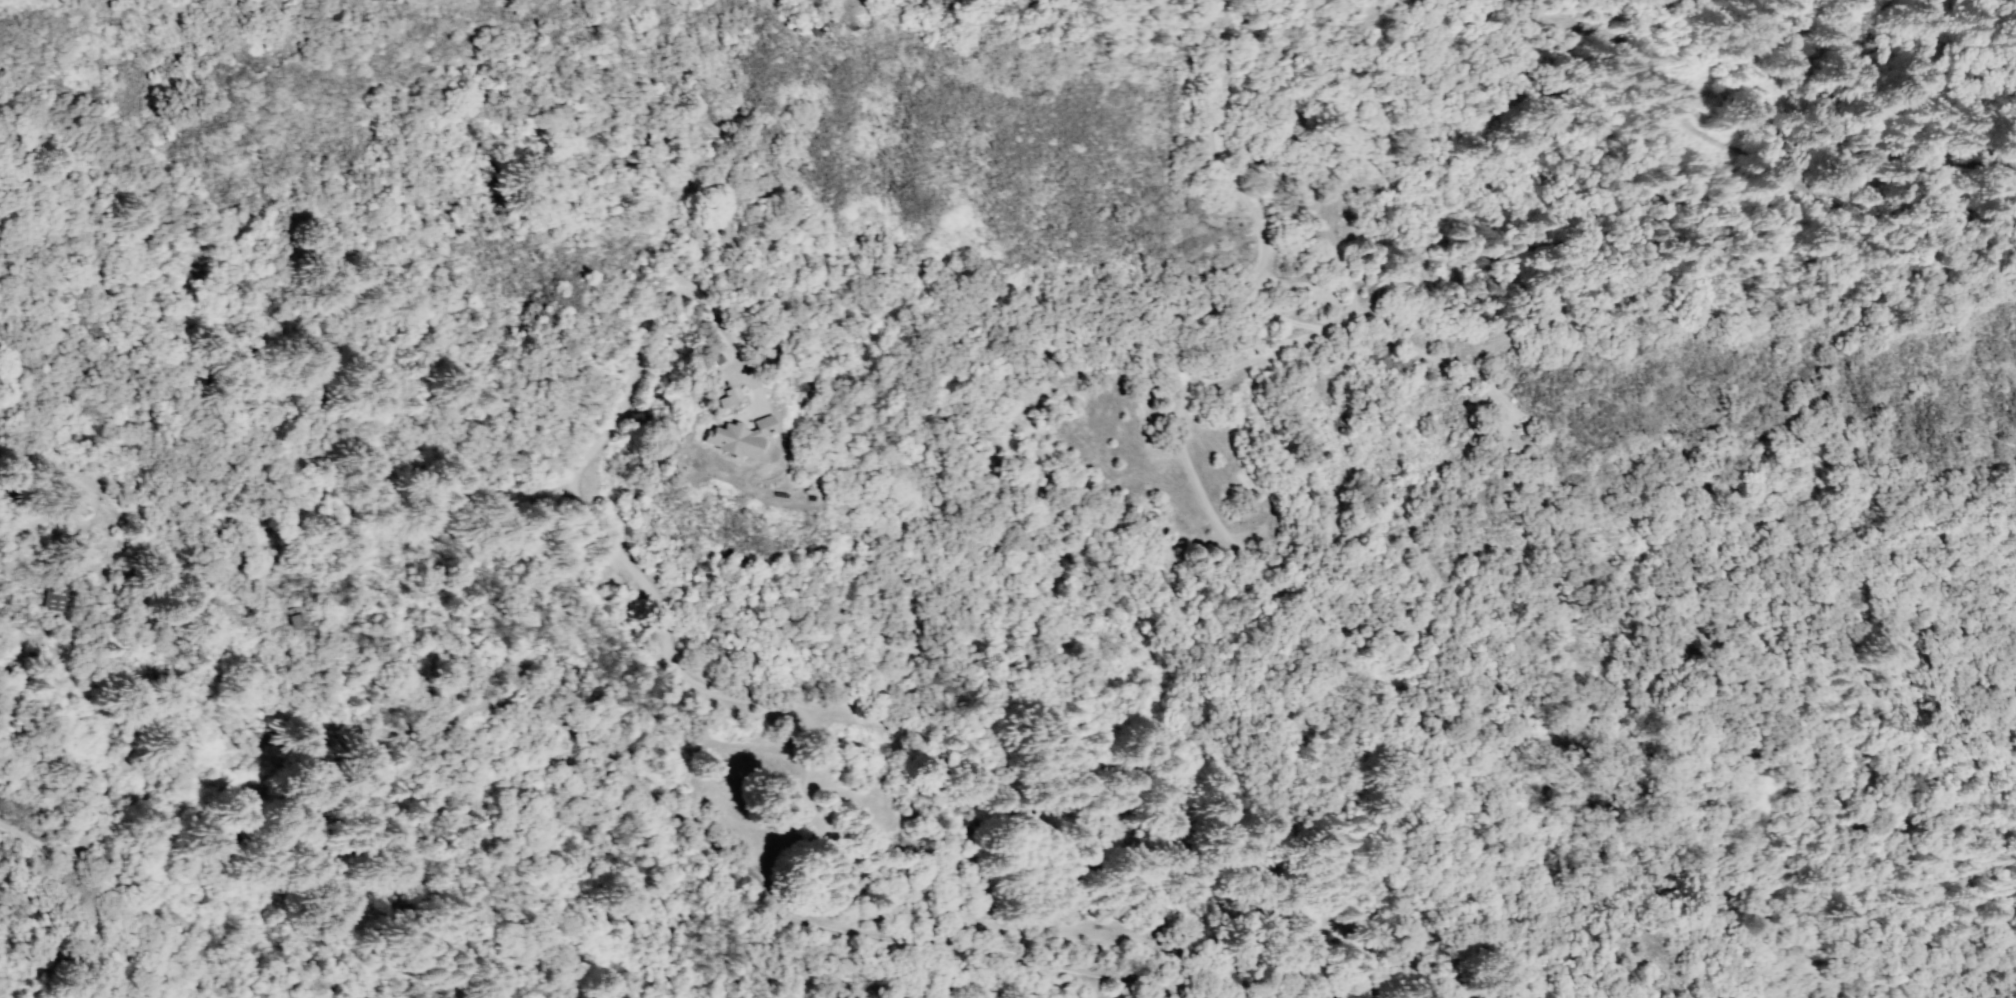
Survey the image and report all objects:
road: (1360, 87)
road: (1338, 324)
road: (1388, 349)
building: (726, 397)
building: (760, 418)
building: (737, 437)
road: (624, 562)
building: (53, 596)
road: (1299, 601)
road: (579, 736)
road: (3, 778)
road: (1416, 934)
road: (1820, 973)

